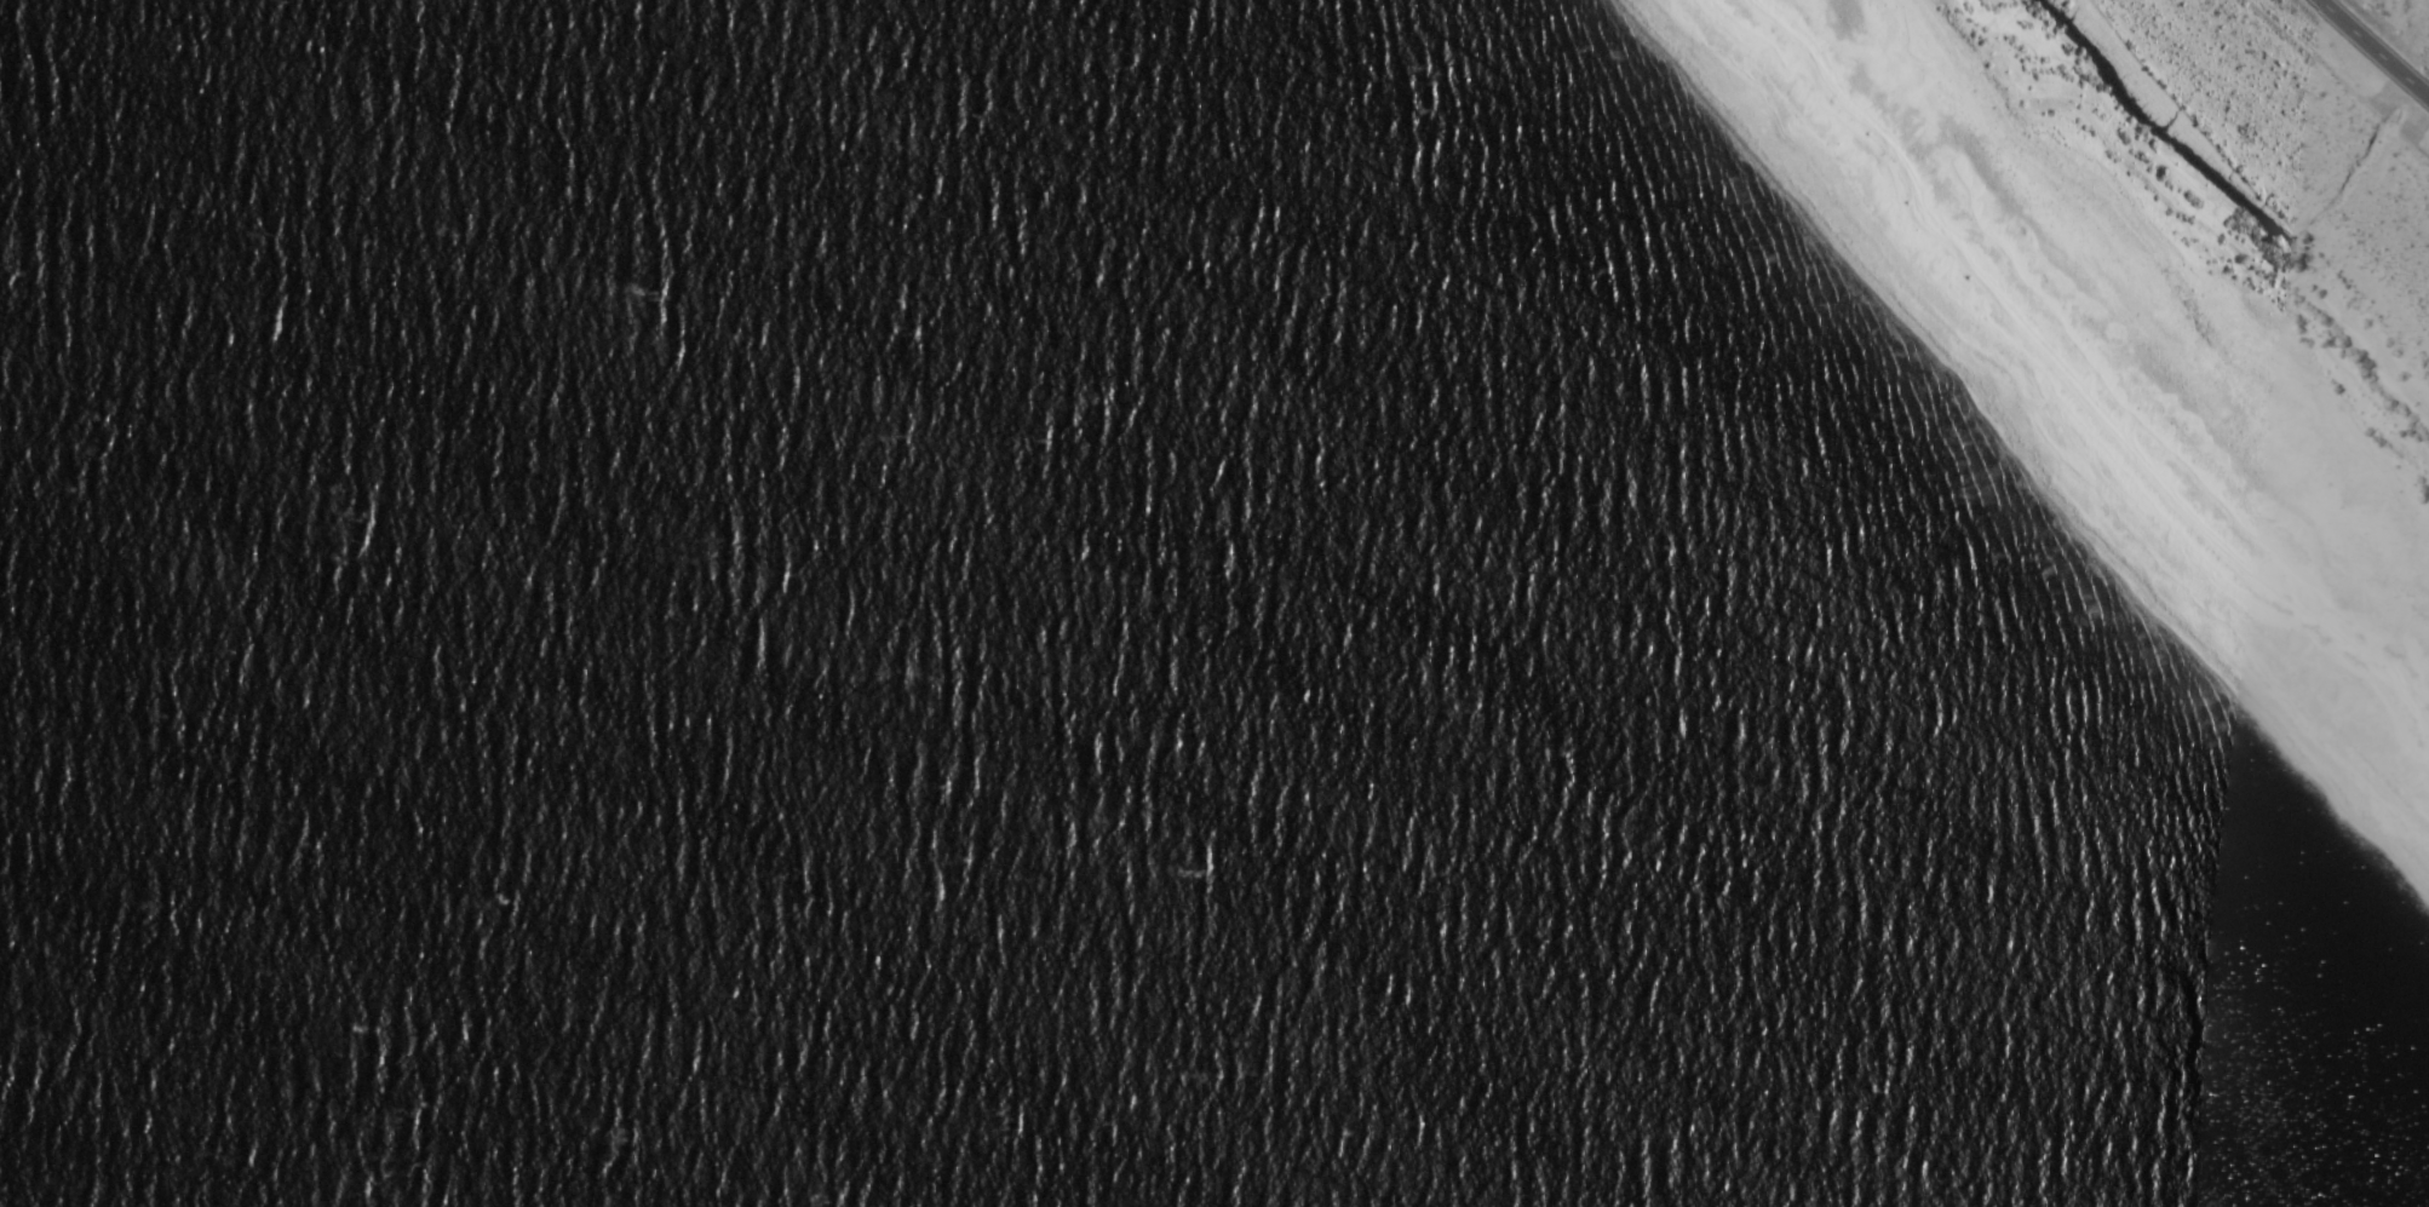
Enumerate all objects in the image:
road: (2377, 46)
road: (2396, 653)

